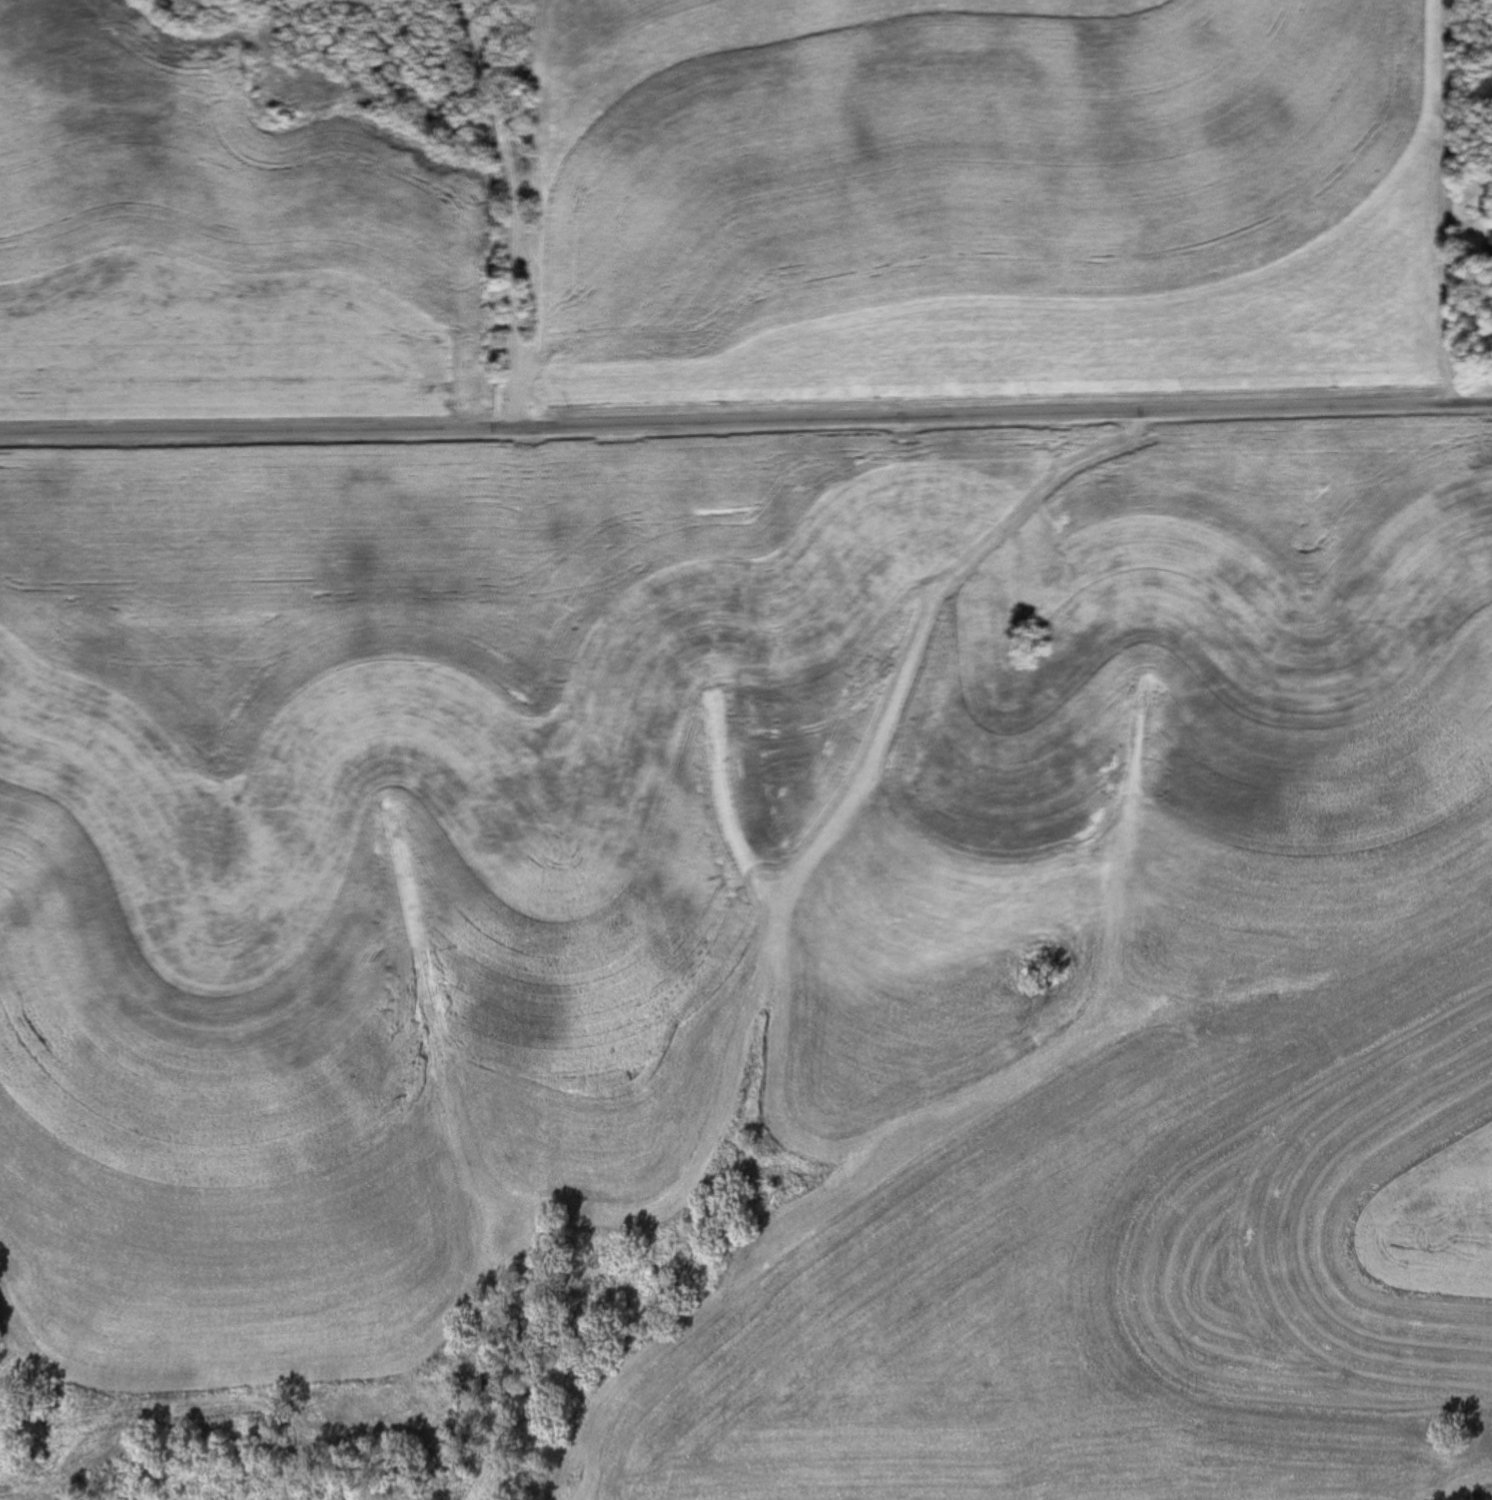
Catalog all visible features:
road: (1468, 201)
road: (513, 209)
building: (1490, 242)
road: (746, 420)

